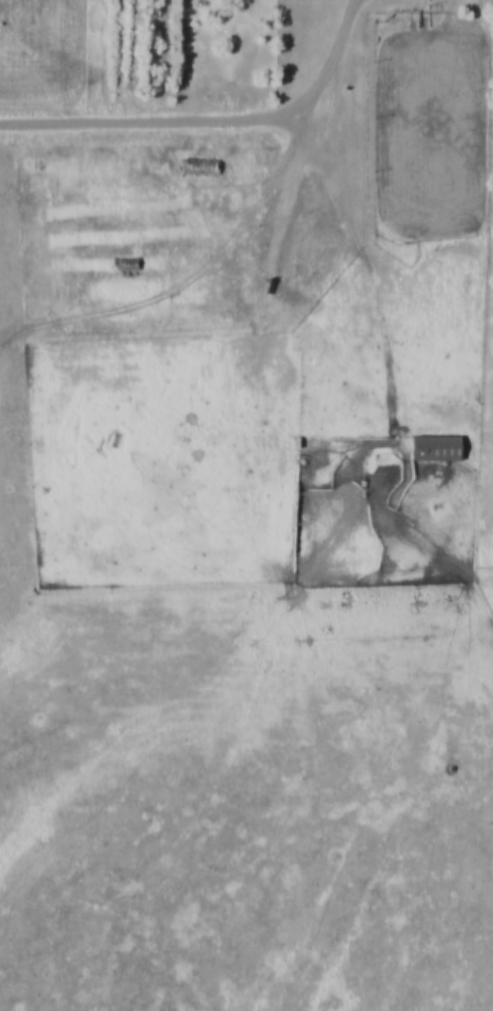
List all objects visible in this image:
road: (213, 116)
building: (437, 444)
road: (484, 494)

